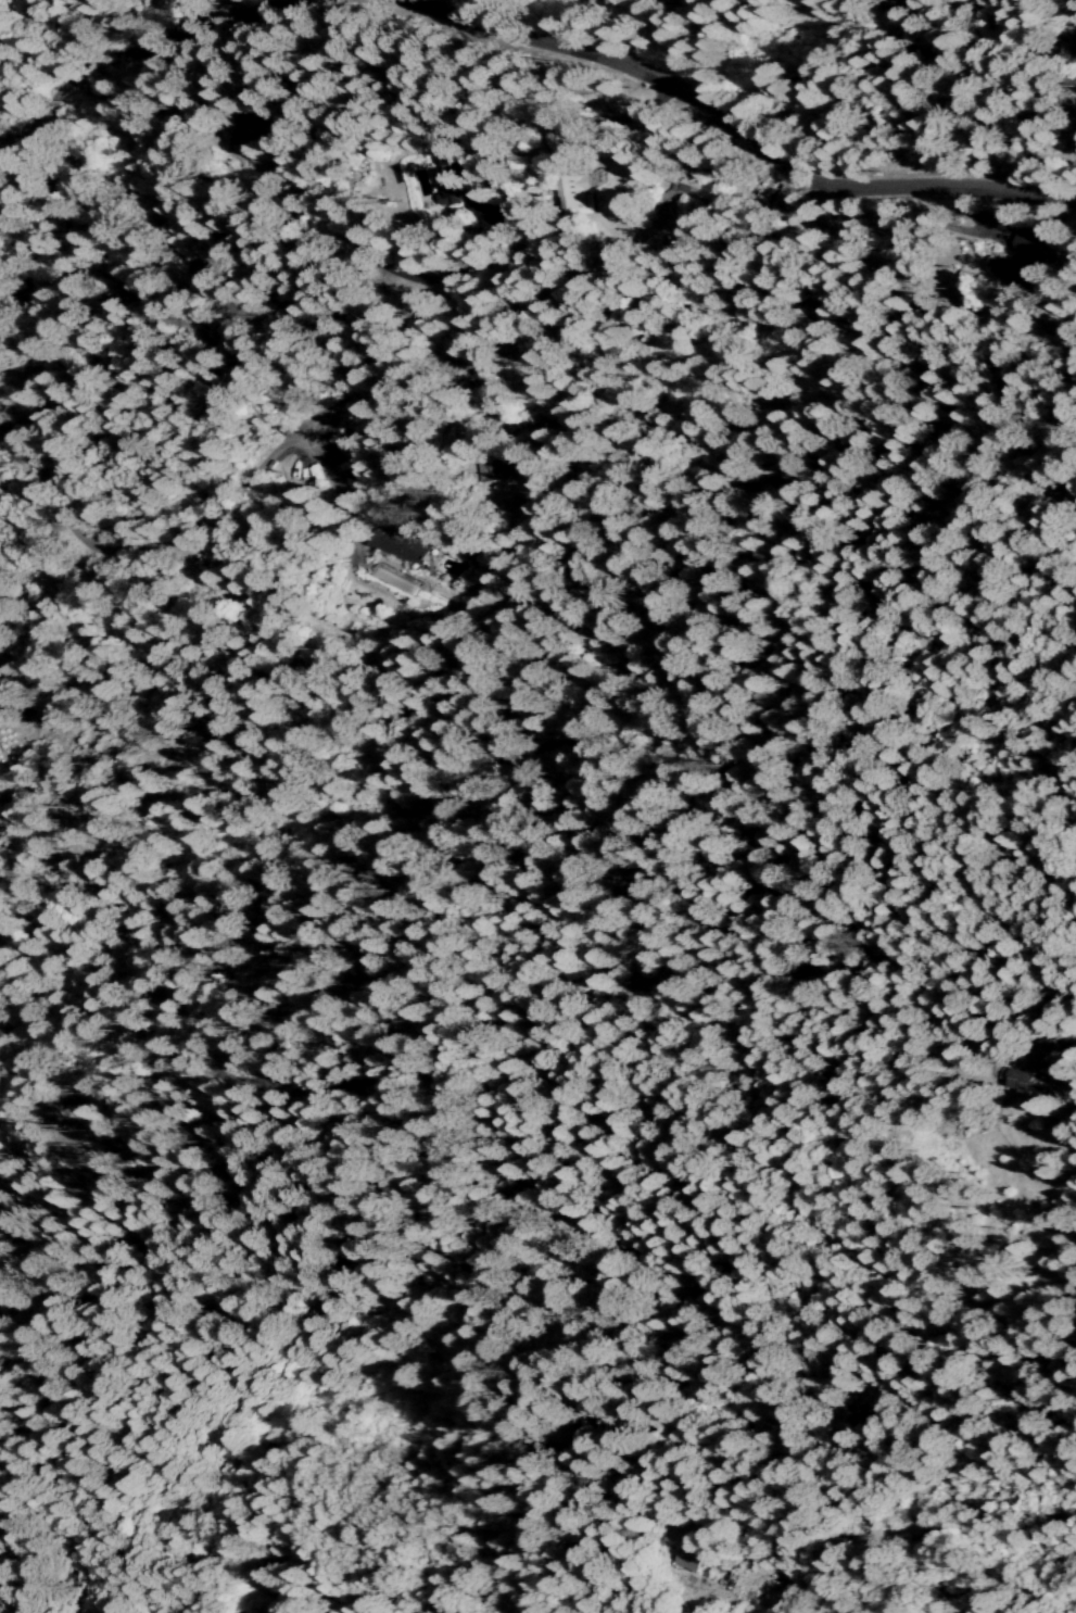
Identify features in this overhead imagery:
road: (118, 55)
road: (740, 127)
building: (694, 191)
building: (580, 196)
road: (130, 241)
building: (1021, 261)
building: (293, 467)
building: (402, 543)
building: (395, 579)
building: (688, 1558)

